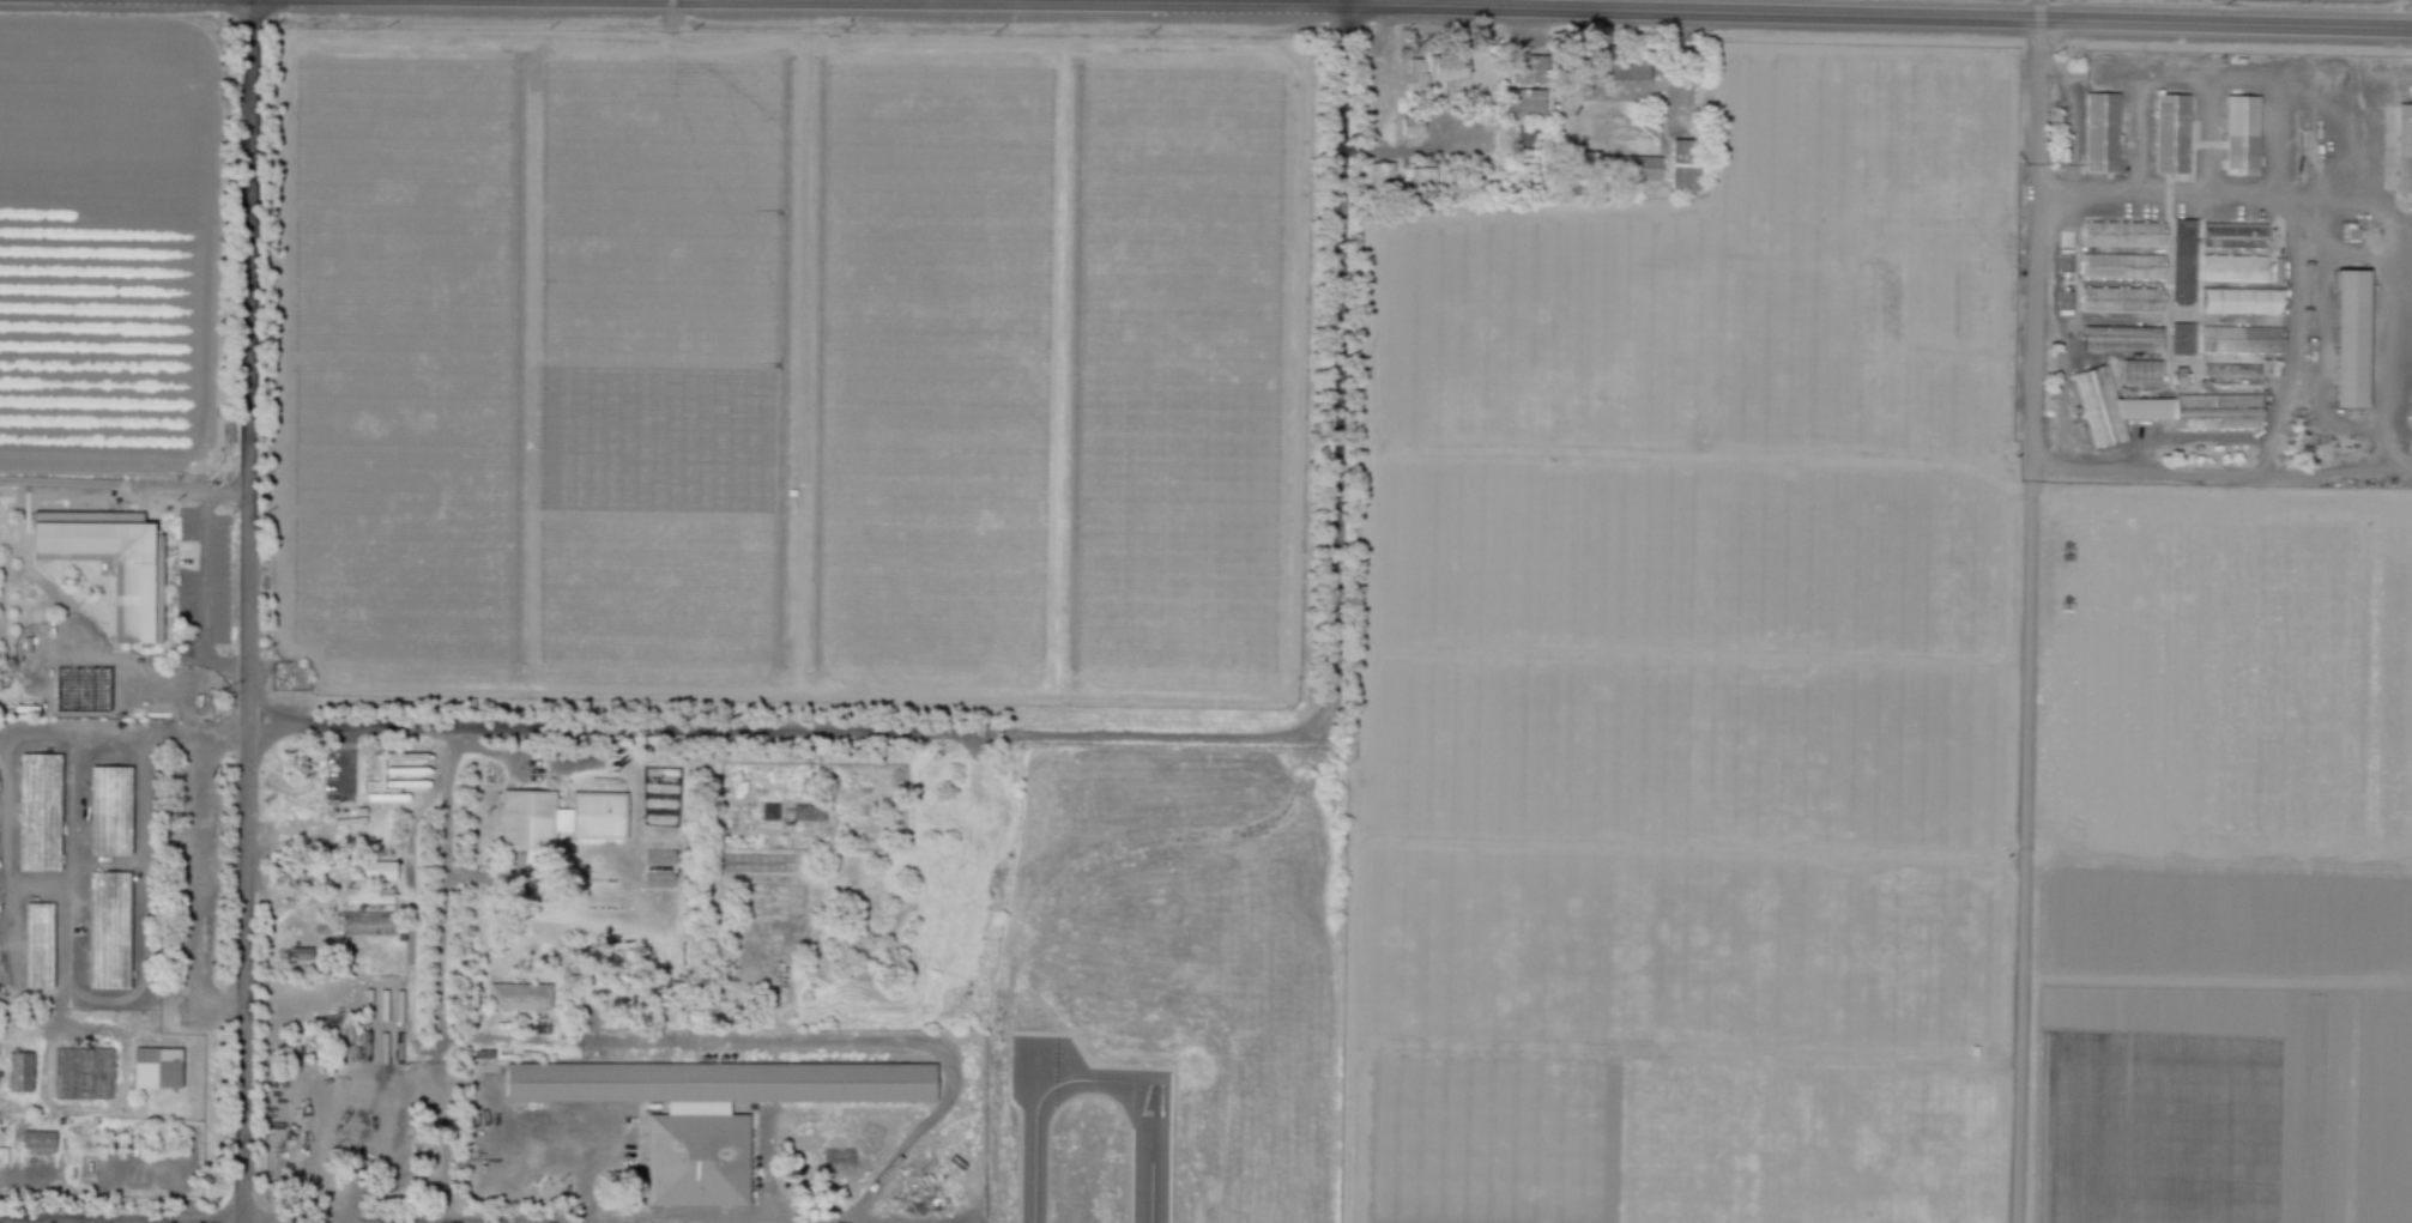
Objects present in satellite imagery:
road: (1524, 6)
building: (1528, 68)
road: (2230, 69)
building: (1446, 72)
building: (1415, 77)
building: (1613, 78)
building: (1524, 102)
road: (2069, 121)
building: (1410, 126)
building: (2241, 133)
building: (2103, 134)
building: (2174, 137)
building: (2405, 150)
building: (1683, 163)
building: (1609, 167)
building: (1380, 172)
building: (1421, 176)
road: (2353, 198)
building: (2123, 235)
building: (2236, 238)
road: (2354, 259)
building: (2183, 262)
building: (2124, 267)
building: (2235, 270)
building: (2123, 301)
road: (2399, 301)
building: (2243, 304)
road: (2319, 337)
building: (2353, 338)
building: (2123, 340)
building: (2183, 340)
building: (2241, 340)
building: (2141, 375)
building: (2231, 376)
building: (2100, 407)
building: (2218, 414)
road: (2205, 473)
road: (123, 482)
building: (110, 561)
parking lot: (199, 586)
road: (202, 589)
road: (1325, 589)
road: (247, 611)
road: (2026, 611)
road: (551, 723)
road: (0, 734)
road: (810, 741)
road: (345, 762)
parking lot: (340, 771)
building: (38, 811)
building: (109, 812)
building: (805, 812)
building: (557, 816)
road: (1504, 853)
road: (71, 862)
building: (371, 870)
road: (195, 883)
building: (365, 922)
building: (107, 928)
road: (8, 936)
building: (36, 944)
building: (300, 952)
airport: (1165, 989)
building: (519, 995)
building: (472, 999)
road: (797, 1040)
building: (156, 1067)
building: (18, 1071)
airport taxiway: (1093, 1079)
building: (712, 1106)
building: (37, 1140)
airport runway: (1151, 1146)
airport taxiway: (1033, 1150)
road: (119, 1217)
road: (194, 1221)
road: (588, 1221)
road: (598, 1222)

